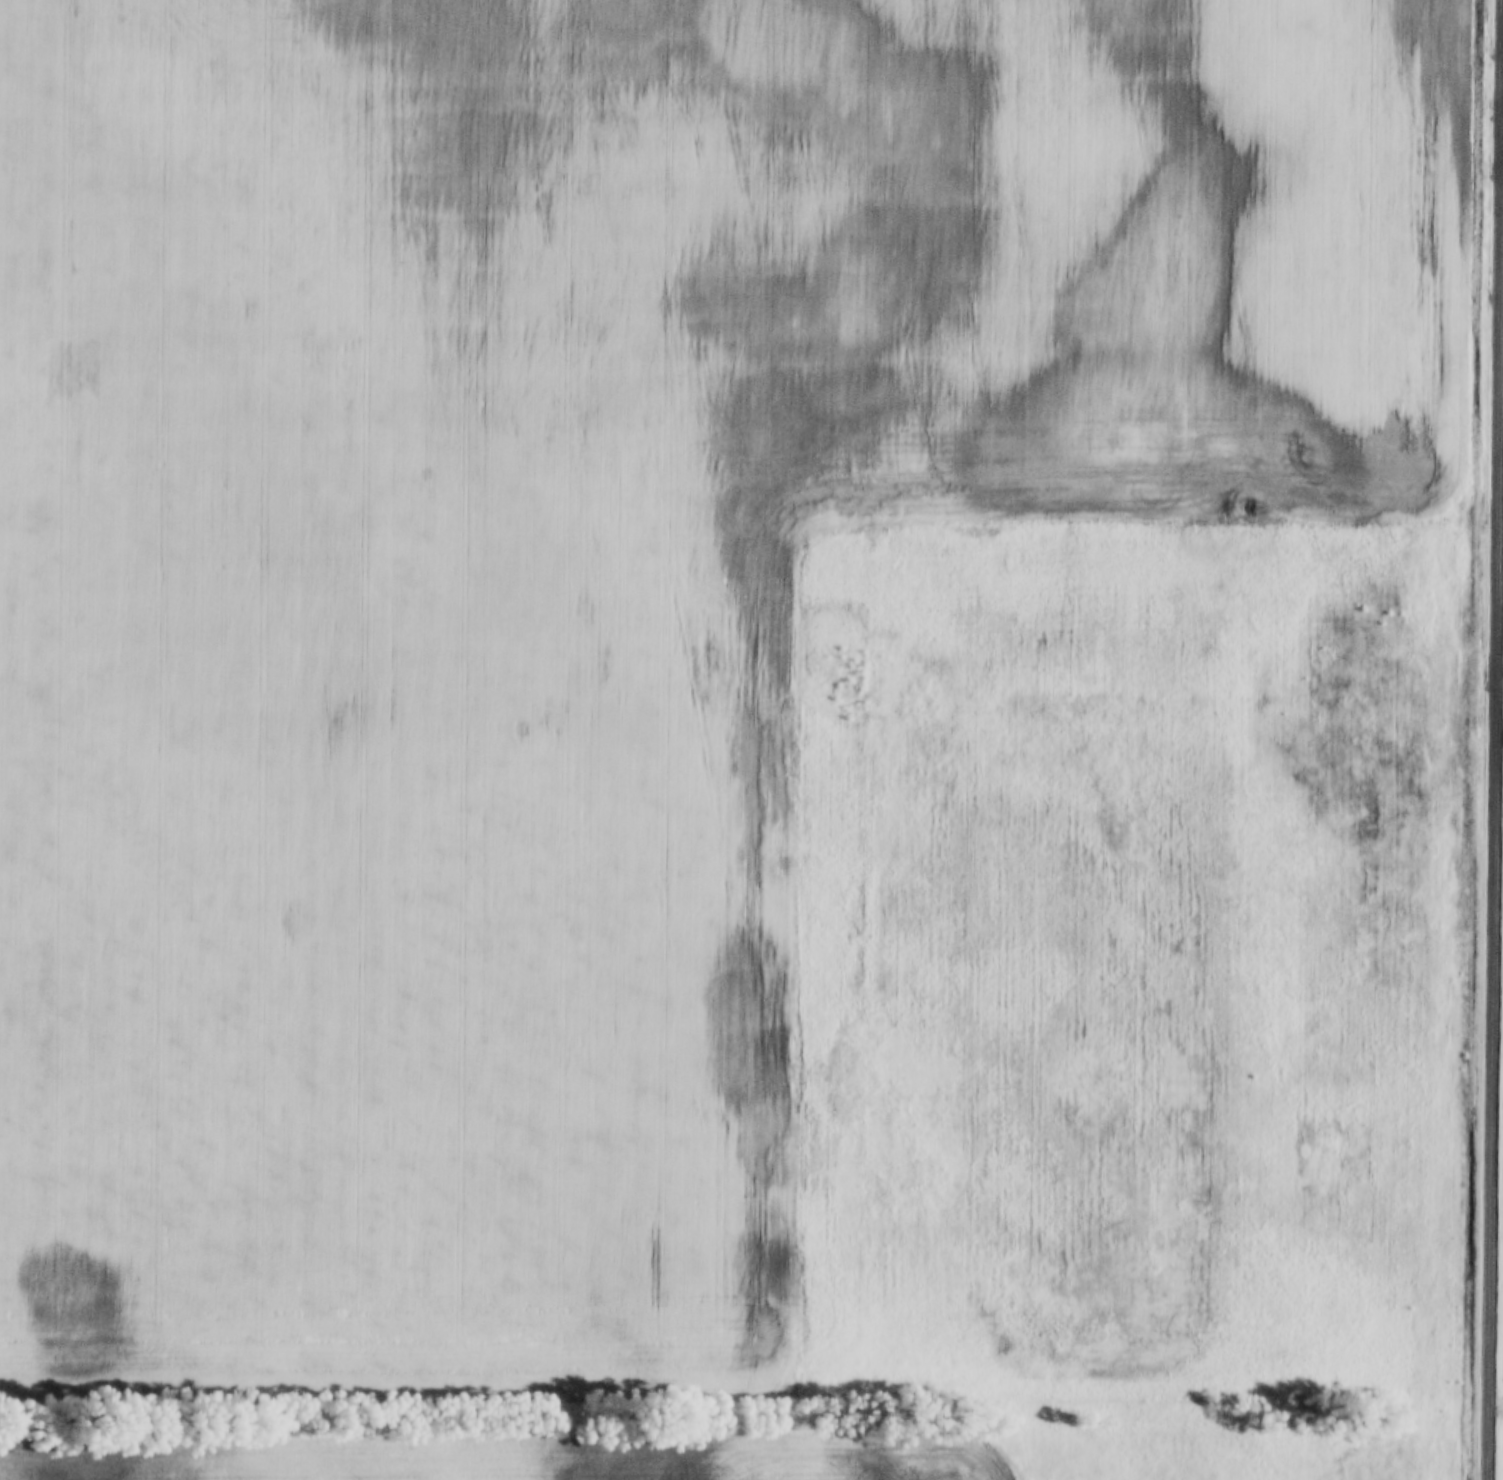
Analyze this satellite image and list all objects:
road: (1498, 995)

